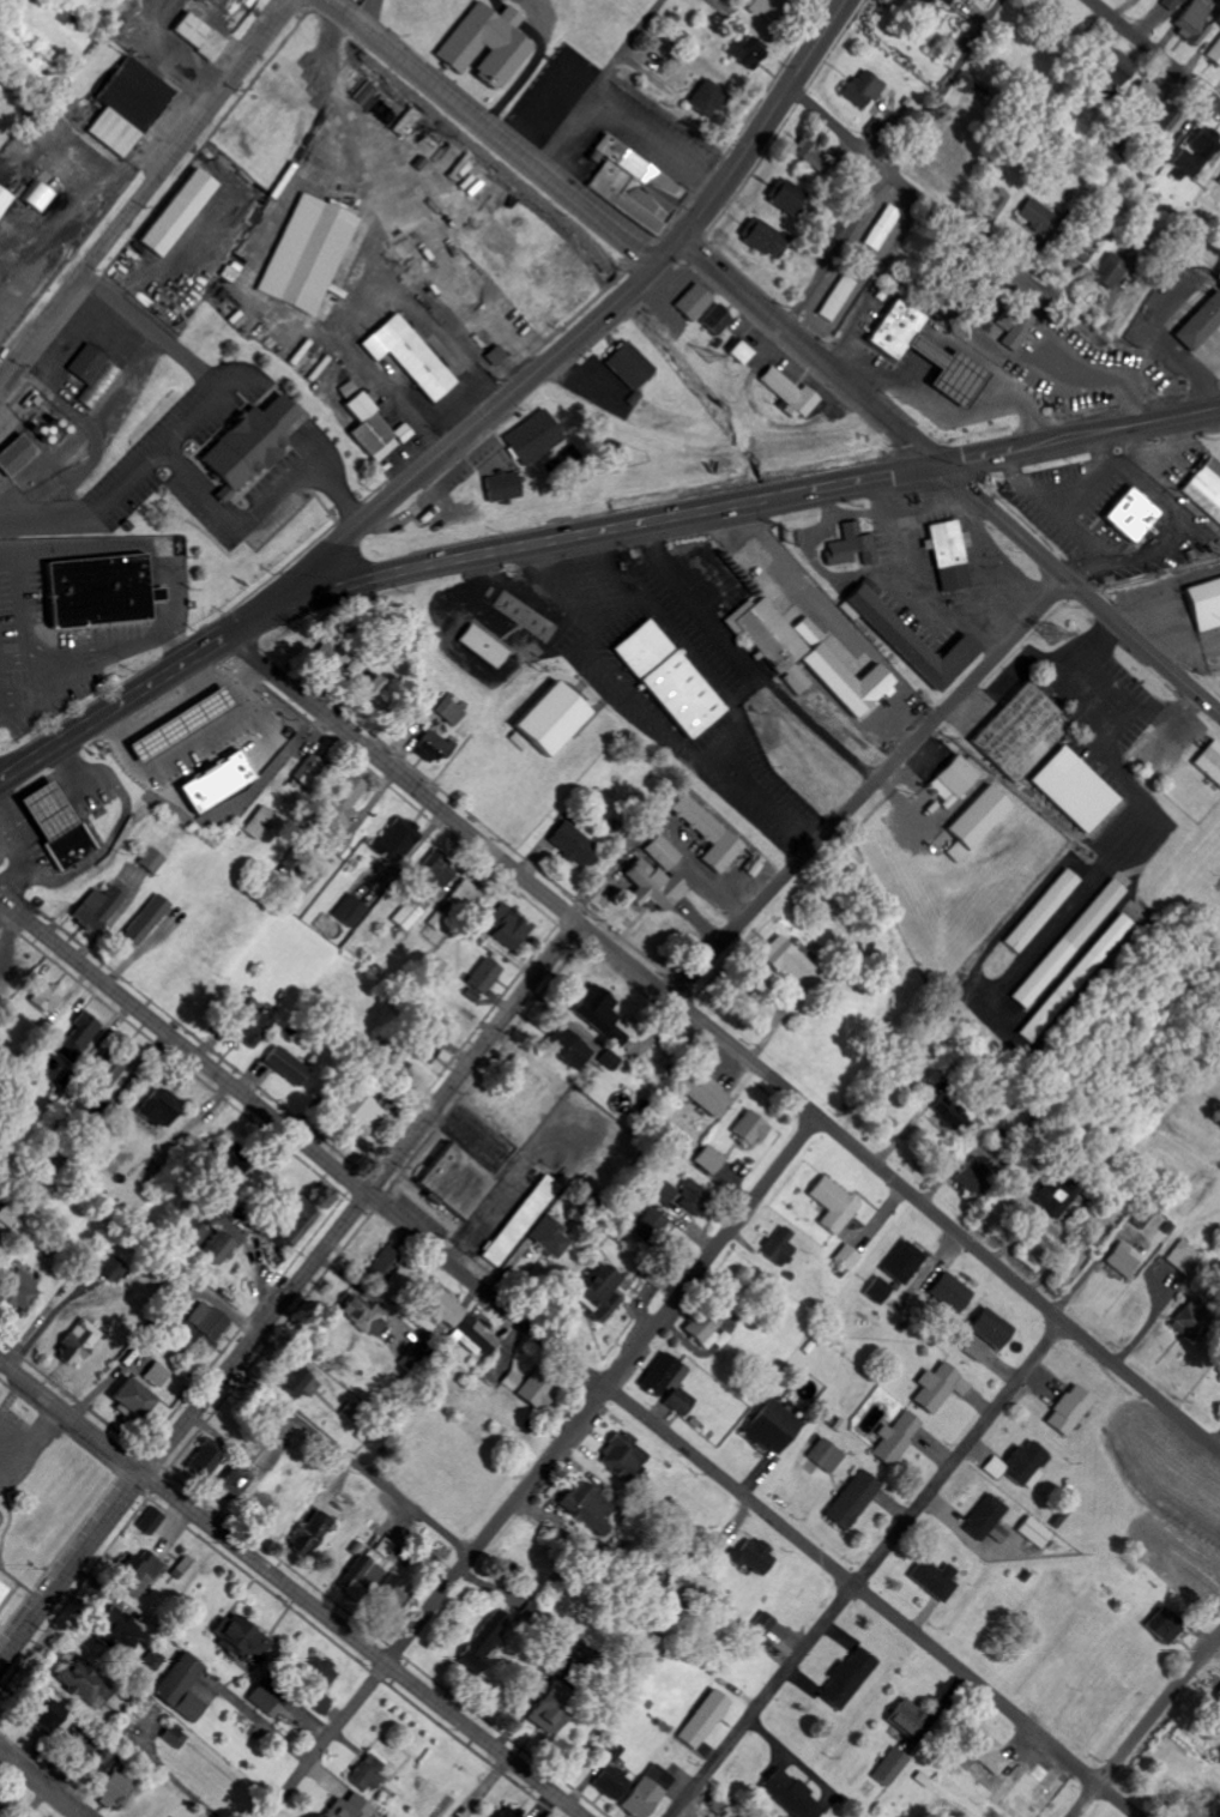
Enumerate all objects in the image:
building: (745, 1)
building: (924, 1)
building: (1172, 5)
road: (375, 6)
building: (763, 7)
road: (374, 22)
building: (1192, 23)
building: (199, 37)
building: (487, 47)
building: (747, 52)
road: (1153, 53)
building: (1214, 54)
building: (1116, 70)
road: (602, 83)
building: (967, 84)
building: (863, 91)
building: (1142, 98)
building: (705, 99)
building: (127, 107)
building: (407, 121)
building: (1166, 128)
road: (494, 129)
building: (811, 156)
building: (1195, 156)
road: (896, 163)
building: (1219, 183)
building: (633, 186)
road: (149, 191)
building: (38, 197)
building: (787, 198)
building: (2, 200)
building: (995, 206)
building: (177, 212)
road: (942, 216)
building: (1038, 218)
building: (882, 228)
building: (766, 241)
building: (306, 253)
building: (1065, 262)
building: (1111, 272)
building: (838, 298)
building: (694, 302)
building: (718, 321)
building: (1201, 325)
building: (1016, 331)
road: (570, 344)
road: (815, 348)
building: (741, 351)
building: (926, 355)
building: (495, 356)
building: (409, 357)
building: (630, 366)
building: (95, 378)
building: (791, 394)
road: (192, 422)
building: (373, 429)
building: (533, 439)
building: (247, 445)
building: (16, 457)
building: (502, 488)
building: (1206, 490)
road: (265, 506)
road: (721, 506)
building: (1131, 517)
building: (852, 547)
building: (949, 555)
building: (99, 588)
road: (1080, 590)
building: (1206, 603)
building: (771, 633)
building: (907, 640)
building: (482, 644)
building: (669, 676)
building: (844, 677)
building: (369, 692)
building: (213, 702)
road: (115, 707)
building: (448, 712)
building: (552, 717)
building: (1020, 732)
building: (431, 745)
building: (1209, 761)
building: (304, 769)
building: (955, 780)
building: (217, 781)
road: (869, 787)
building: (1075, 789)
building: (338, 805)
building: (980, 817)
building: (256, 822)
building: (59, 825)
building: (707, 834)
building: (397, 838)
building: (574, 845)
building: (662, 852)
building: (149, 859)
building: (434, 870)
building: (652, 886)
building: (465, 895)
building: (97, 909)
building: (349, 911)
building: (1043, 911)
building: (409, 914)
building: (145, 919)
building: (509, 928)
building: (1069, 943)
building: (784, 961)
building: (484, 976)
building: (1075, 978)
building: (46, 997)
building: (602, 1015)
building: (253, 1026)
building: (85, 1033)
road: (725, 1042)
building: (567, 1049)
building: (425, 1050)
building: (609, 1060)
building: (284, 1064)
building: (110, 1073)
building: (702, 1093)
building: (159, 1107)
building: (952, 1115)
building: (361, 1116)
building: (747, 1128)
building: (216, 1143)
building: (707, 1159)
building: (972, 1175)
building: (454, 1181)
building: (1056, 1190)
building: (682, 1196)
building: (832, 1205)
building: (292, 1219)
building: (520, 1220)
building: (648, 1224)
building: (192, 1232)
building: (549, 1238)
building: (49, 1245)
building: (215, 1248)
building: (778, 1248)
building: (846, 1257)
building: (1185, 1258)
building: (1122, 1260)
building: (902, 1263)
building: (385, 1264)
building: (109, 1268)
building: (877, 1290)
building: (19, 1291)
building: (596, 1293)
building: (949, 1293)
road: (289, 1296)
building: (442, 1306)
building: (360, 1316)
building: (1190, 1322)
building: (201, 1327)
building: (700, 1328)
building: (990, 1328)
building: (475, 1335)
building: (79, 1342)
building: (974, 1350)
road: (569, 1356)
building: (1219, 1372)
building: (156, 1375)
building: (298, 1382)
building: (665, 1383)
building: (938, 1387)
building: (526, 1389)
building: (129, 1400)
building: (1069, 1411)
building: (351, 1412)
building: (769, 1426)
building: (895, 1438)
building: (825, 1456)
building: (621, 1457)
building: (205, 1459)
road: (543, 1467)
building: (234, 1483)
building: (852, 1501)
building: (984, 1517)
building: (152, 1522)
building: (1034, 1533)
building: (310, 1534)
building: (749, 1556)
building: (143, 1568)
building: (372, 1568)
road: (866, 1569)
building: (935, 1578)
road: (291, 1588)
building: (1, 1589)
building: (391, 1600)
building: (761, 1625)
building: (1162, 1626)
building: (117, 1630)
building: (485, 1640)
building: (241, 1641)
building: (151, 1658)
building: (845, 1678)
building: (80, 1682)
building: (319, 1682)
building: (181, 1688)
building: (1216, 1697)
building: (266, 1698)
building: (549, 1708)
building: (48, 1715)
building: (902, 1718)
building: (702, 1720)
road: (1144, 1724)
building: (174, 1735)
building: (984, 1750)
building: (95, 1764)
building: (889, 1768)
building: (368, 1774)
building: (609, 1776)
road: (37, 1785)
building: (116, 1787)
building: (645, 1792)
building: (1031, 1792)
building: (792, 1794)
building: (1174, 1803)
building: (717, 1805)
building: (350, 1807)
building: (505, 1812)
building: (25, 1813)

